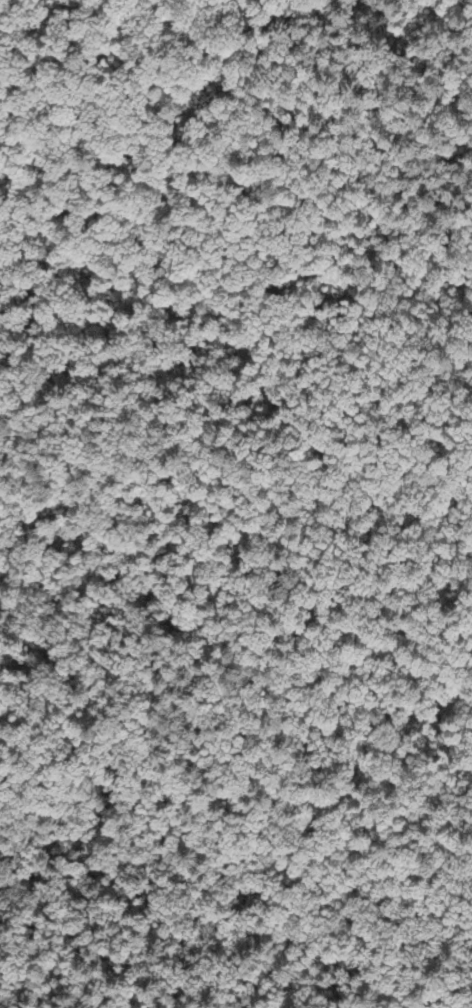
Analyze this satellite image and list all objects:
road: (261, 225)

